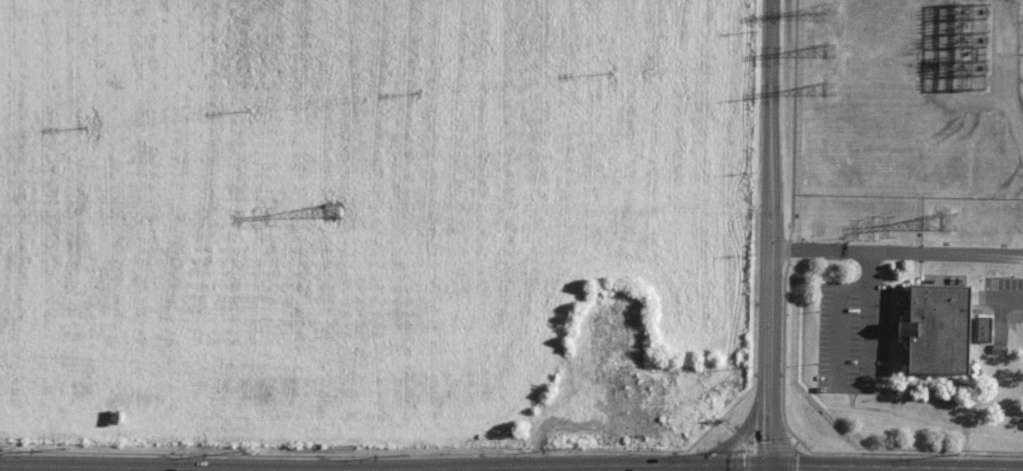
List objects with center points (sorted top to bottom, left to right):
power tower: (830, 12)
power substation: (965, 45)
power tower: (829, 53)
power tower: (828, 90)
power tower: (332, 213)
power tower: (946, 223)
road: (769, 235)
road: (896, 251)
building: (940, 329)
building: (985, 329)
building: (997, 348)
road: (732, 443)

